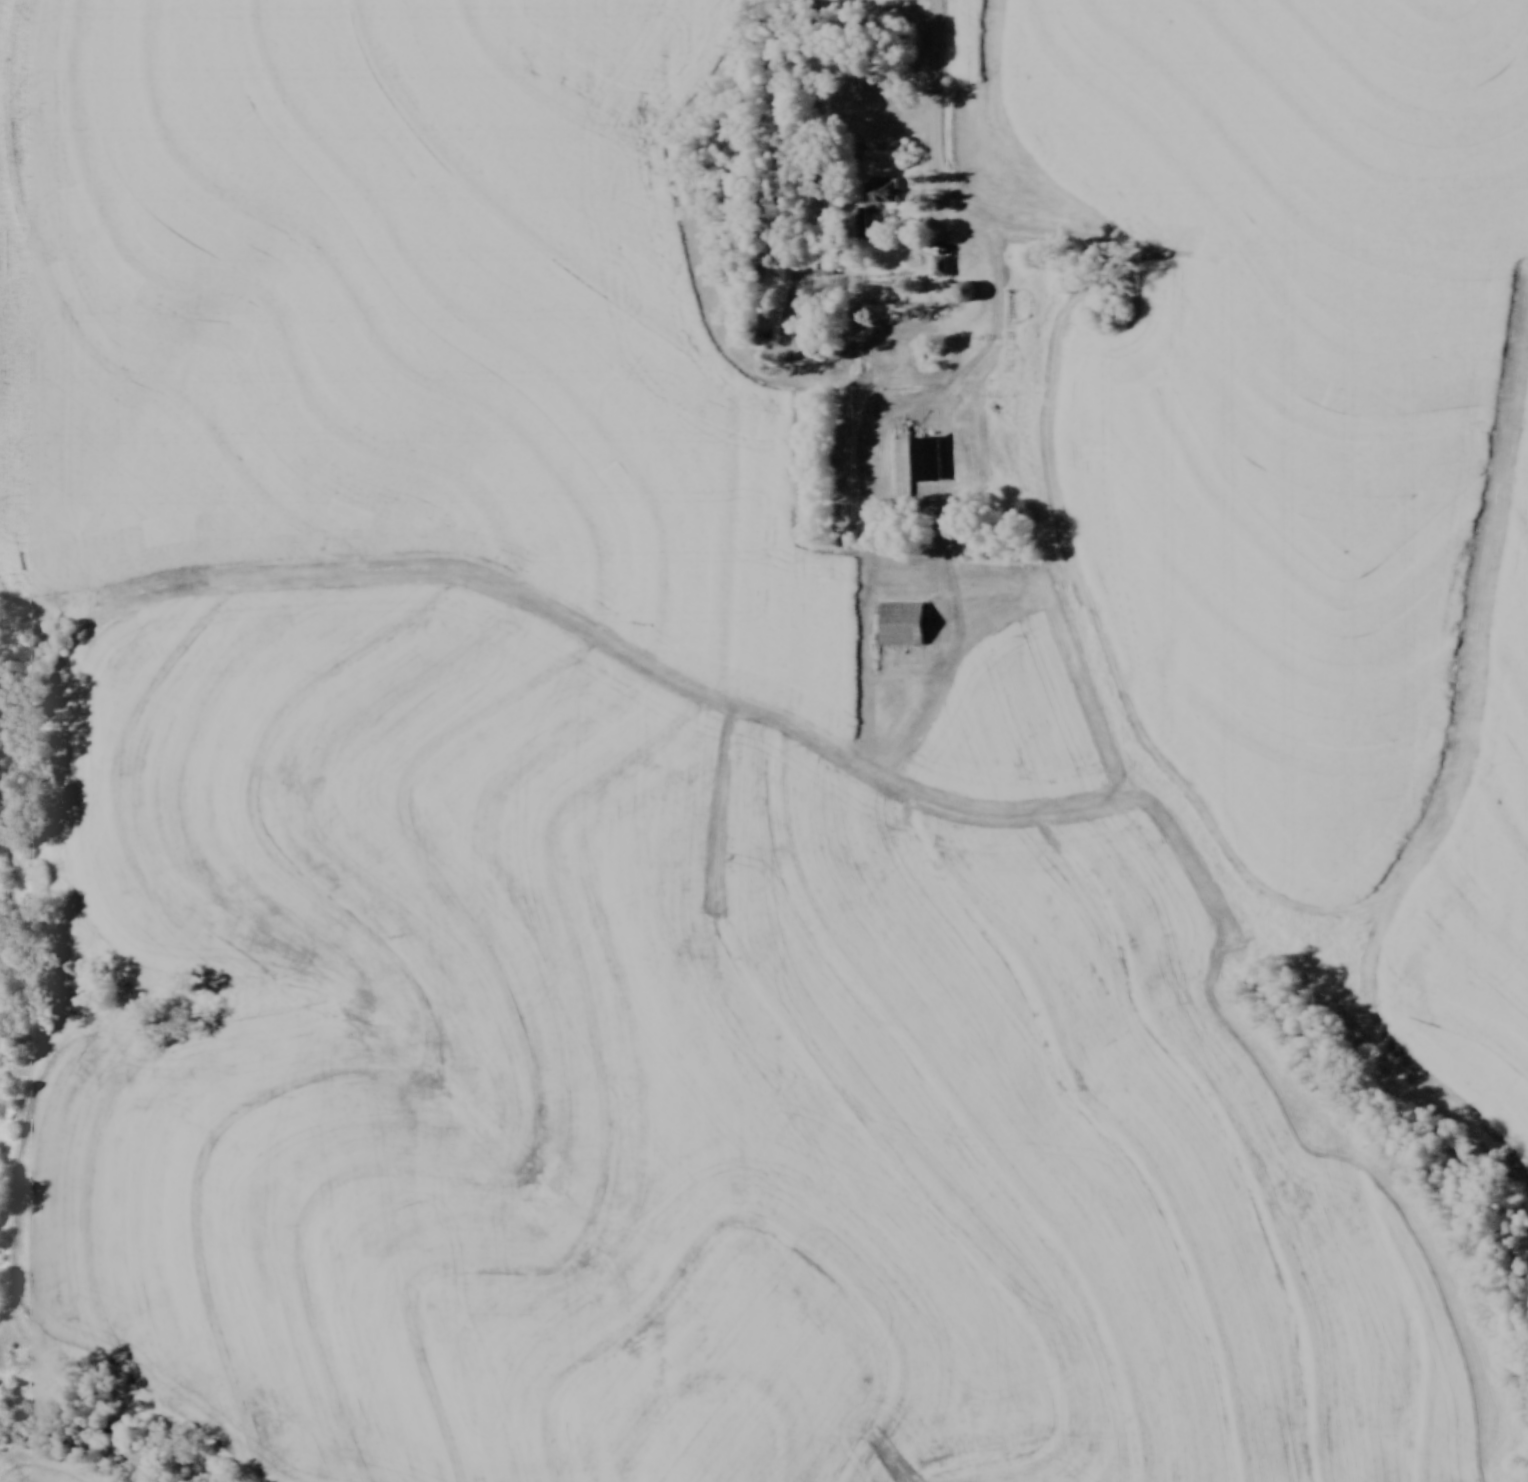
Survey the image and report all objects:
road: (930, 95)
building: (884, 190)
building: (944, 265)
building: (921, 461)
building: (907, 626)

